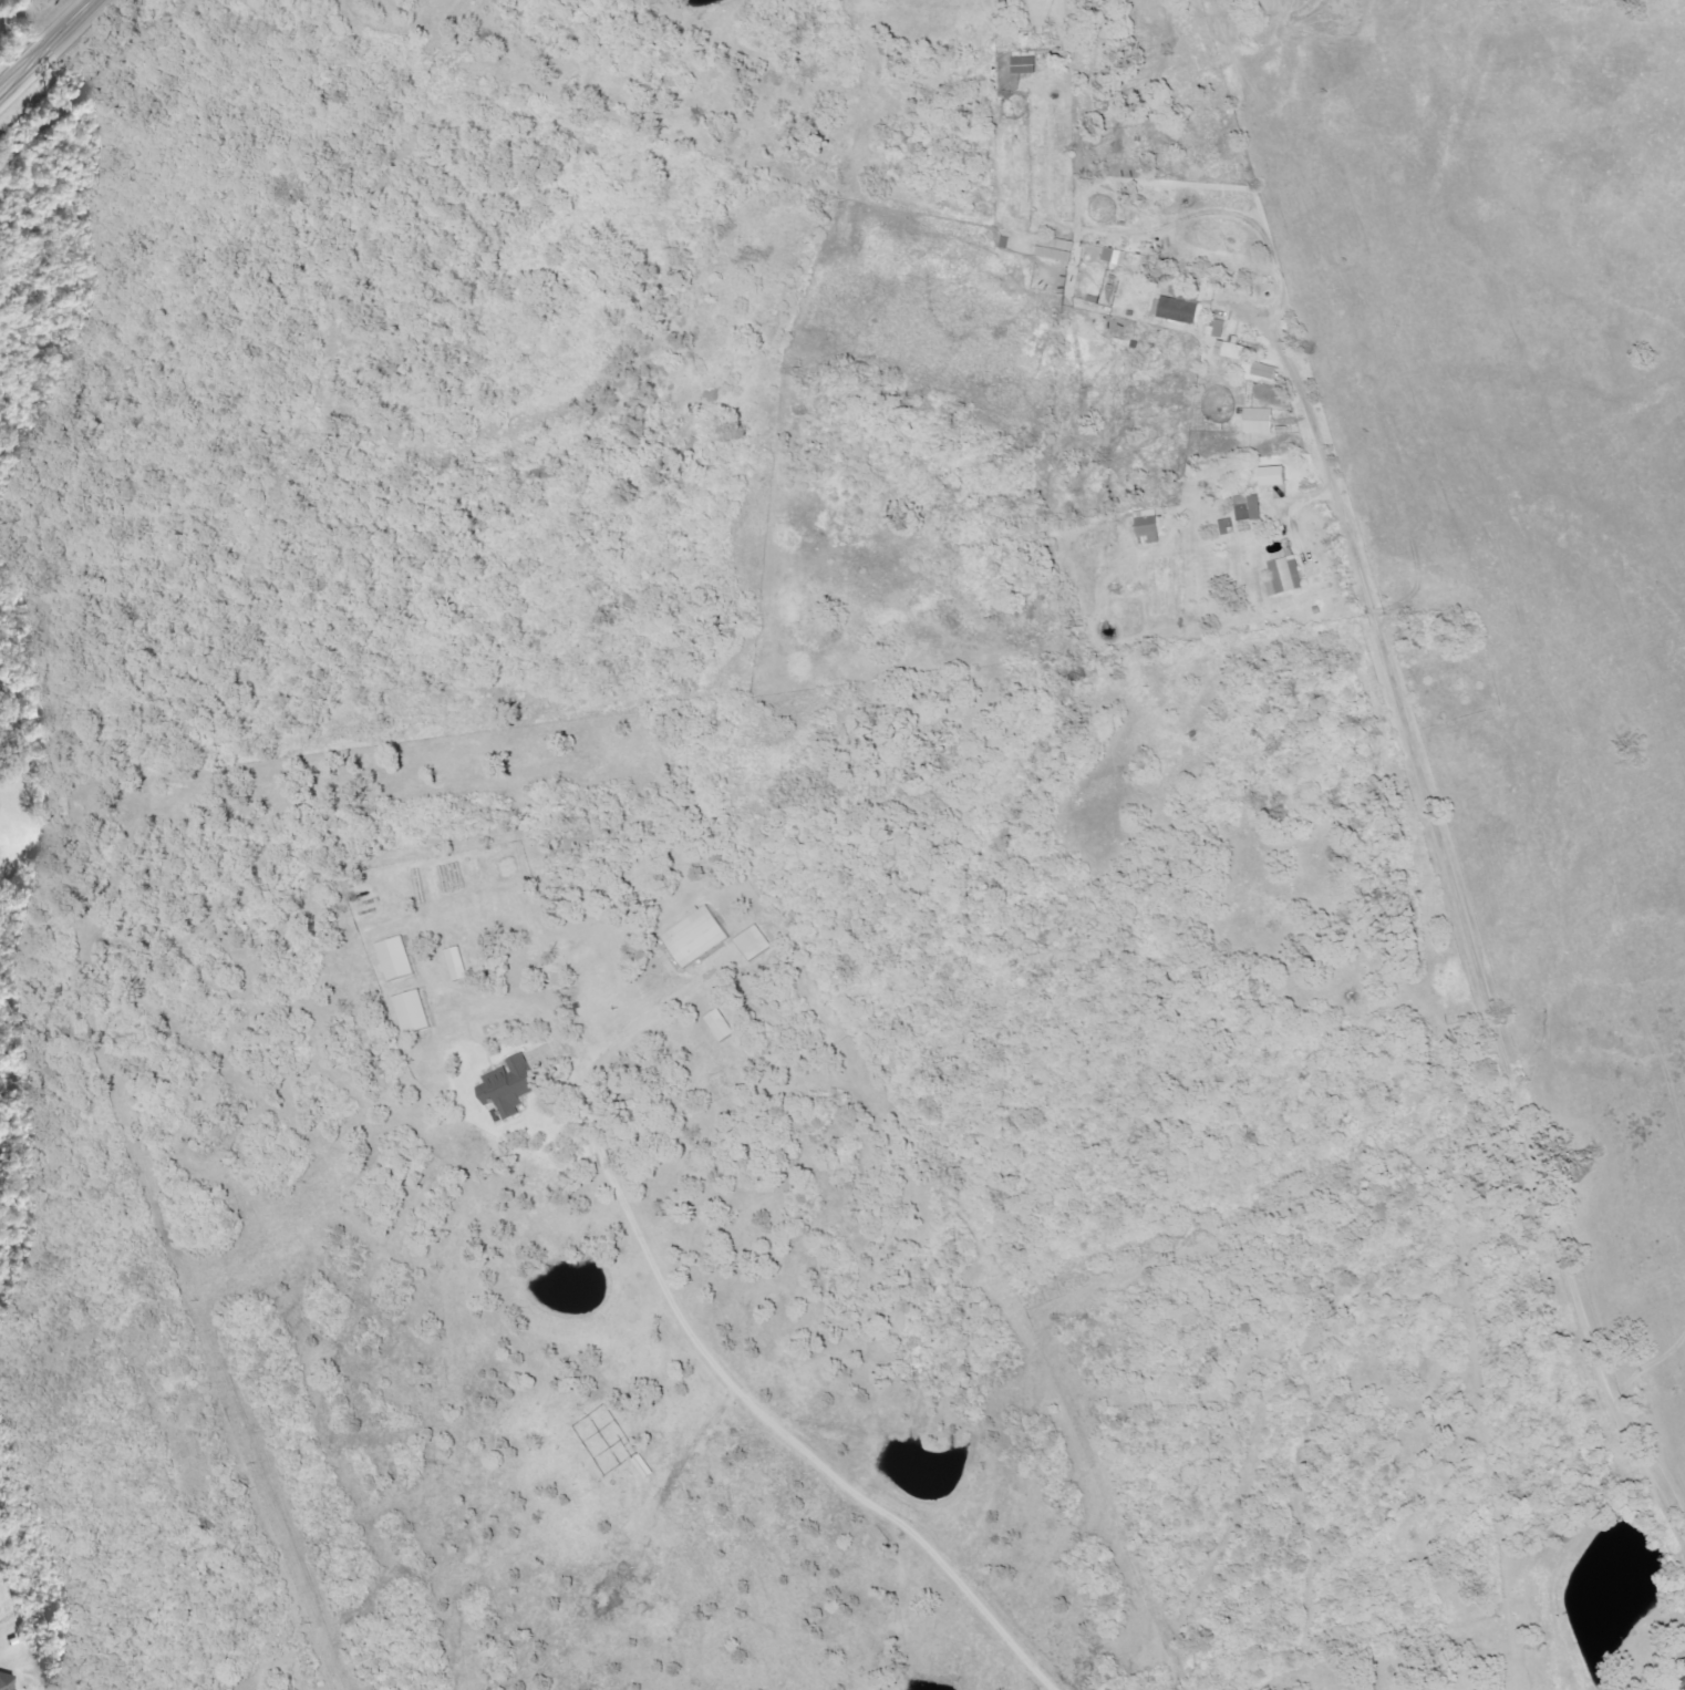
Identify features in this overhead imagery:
road: (51, 50)
building: (1024, 65)
building: (1055, 248)
building: (1115, 257)
building: (1175, 309)
building: (1214, 328)
building: (1230, 349)
building: (1264, 371)
building: (1272, 476)
building: (1248, 508)
building: (1147, 527)
building: (1284, 576)
park: (1446, 676)
road: (1470, 936)
building: (694, 937)
building: (394, 958)
building: (456, 963)
building: (412, 1011)
building: (720, 1026)
building: (508, 1086)
road: (707, 1357)
building: (6, 1682)

